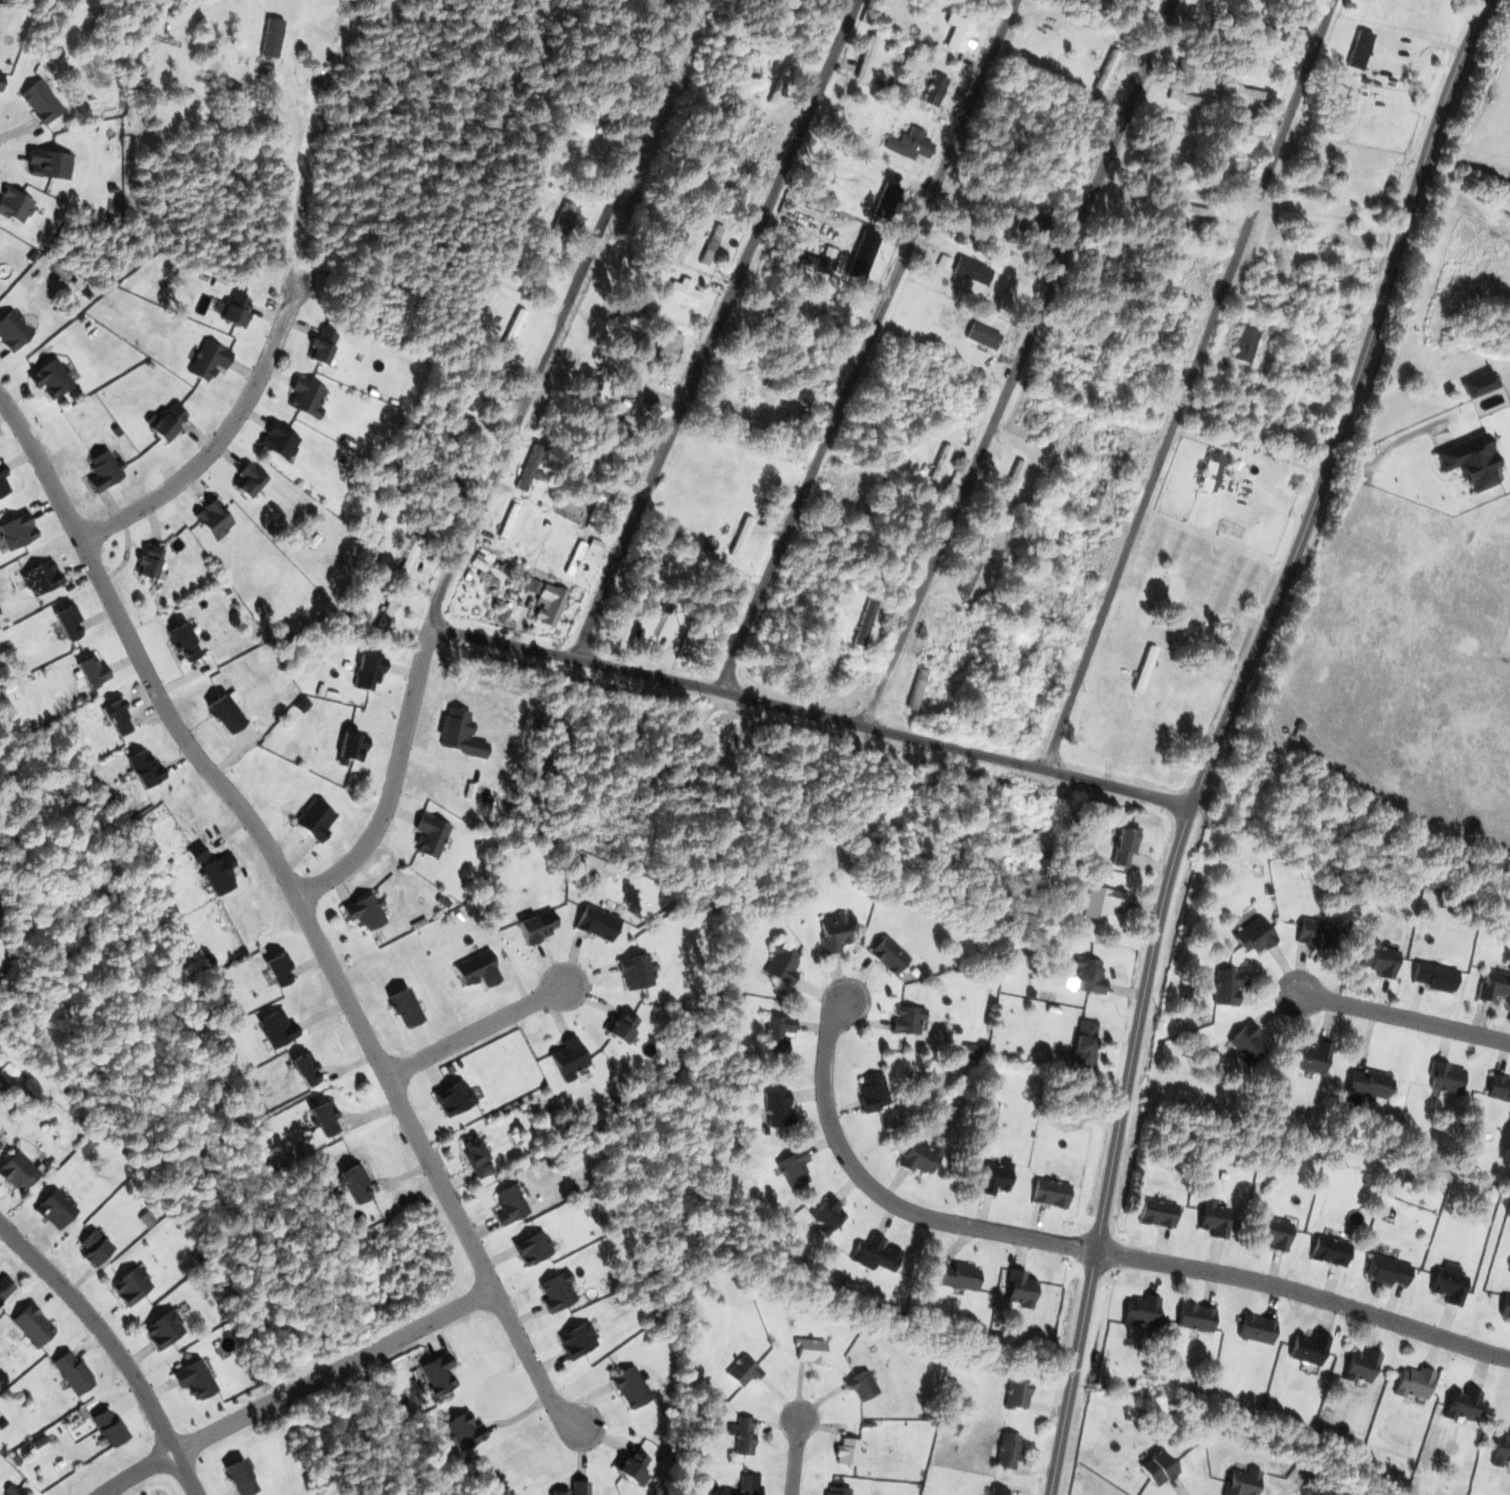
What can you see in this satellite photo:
building: (1275, 29)
building: (966, 34)
building: (277, 38)
building: (1362, 49)
building: (872, 56)
building: (1112, 69)
building: (787, 81)
building: (940, 90)
building: (1250, 93)
building: (696, 95)
building: (1189, 97)
building: (45, 102)
building: (1351, 118)
building: (1168, 137)
building: (764, 142)
building: (916, 144)
building: (1226, 151)
building: (49, 164)
road: (1468, 176)
building: (1335, 178)
building: (892, 200)
building: (16, 205)
building: (1196, 210)
building: (716, 246)
building: (865, 256)
building: (1171, 273)
building: (1007, 285)
building: (686, 295)
building: (235, 312)
road: (561, 313)
road: (714, 329)
building: (15, 330)
building: (987, 337)
road: (867, 345)
building: (1246, 345)
building: (670, 349)
building: (212, 361)
road: (1018, 363)
road: (265, 364)
building: (1075, 366)
building: (52, 377)
road: (1189, 384)
building: (308, 397)
building: (1219, 406)
building: (167, 421)
building: (467, 440)
building: (281, 441)
building: (1118, 444)
road: (1384, 454)
building: (1473, 463)
building: (106, 469)
building: (248, 481)
building: (5, 483)
building: (1097, 497)
building: (599, 513)
building: (215, 519)
building: (20, 532)
building: (148, 561)
building: (975, 576)
building: (41, 578)
building: (548, 605)
building: (390, 612)
building: (70, 622)
building: (951, 635)
building: (182, 641)
building: (690, 643)
building: (94, 670)
building: (371, 672)
building: (919, 690)
building: (225, 713)
road: (813, 715)
building: (118, 716)
road: (1221, 733)
building: (356, 746)
building: (145, 767)
road: (400, 784)
building: (319, 821)
building: (432, 836)
building: (1122, 847)
building: (197, 853)
building: (221, 874)
building: (1099, 902)
road: (301, 908)
building: (363, 911)
building: (598, 923)
building: (539, 927)
building: (833, 933)
building: (1250, 938)
building: (886, 955)
building: (1384, 959)
building: (779, 964)
building: (279, 968)
building: (480, 972)
building: (637, 972)
building: (1088, 975)
building: (1438, 977)
building: (1496, 986)
building: (1225, 988)
building: (406, 1009)
road: (1402, 1018)
building: (906, 1020)
building: (620, 1026)
building: (279, 1028)
road: (477, 1030)
building: (776, 1034)
building: (1246, 1043)
building: (1084, 1045)
building: (1311, 1058)
building: (569, 1059)
building: (306, 1069)
building: (15, 1073)
building: (1446, 1078)
building: (1369, 1083)
building: (1498, 1088)
building: (872, 1093)
building: (454, 1098)
building: (777, 1108)
building: (326, 1116)
building: (476, 1158)
building: (919, 1158)
building: (791, 1168)
building: (19, 1170)
building: (995, 1178)
building: (353, 1182)
building: (1050, 1193)
road: (882, 1198)
building: (509, 1203)
building: (58, 1209)
building: (1160, 1213)
building: (826, 1215)
building: (1216, 1218)
building: (1277, 1231)
building: (532, 1247)
building: (96, 1250)
building: (1331, 1251)
building: (876, 1253)
building: (1388, 1270)
building: (955, 1275)
building: (1448, 1285)
building: (134, 1286)
building: (6, 1288)
building: (1022, 1289)
building: (559, 1291)
road: (1305, 1293)
building: (1504, 1309)
building: (1141, 1311)
building: (1194, 1317)
building: (32, 1324)
building: (1254, 1328)
building: (166, 1329)
building: (578, 1340)
road: (114, 1348)
building: (1306, 1348)
building: (809, 1350)
building: (1358, 1366)
building: (73, 1371)
building: (742, 1371)
building: (442, 1375)
building: (192, 1376)
building: (1412, 1382)
building: (862, 1384)
building: (633, 1386)
road: (296, 1390)
building: (1016, 1394)
building: (1461, 1403)
building: (105, 1426)
building: (463, 1430)
building: (743, 1435)
building: (1500, 1448)
building: (845, 1451)
building: (1008, 1451)
road: (795, 1455)
building: (629, 1465)
building: (1159, 1467)
building: (239, 1478)
building: (1242, 1482)
building: (749, 1485)
building: (575, 1489)
building: (12, 1491)
building: (998, 1491)

